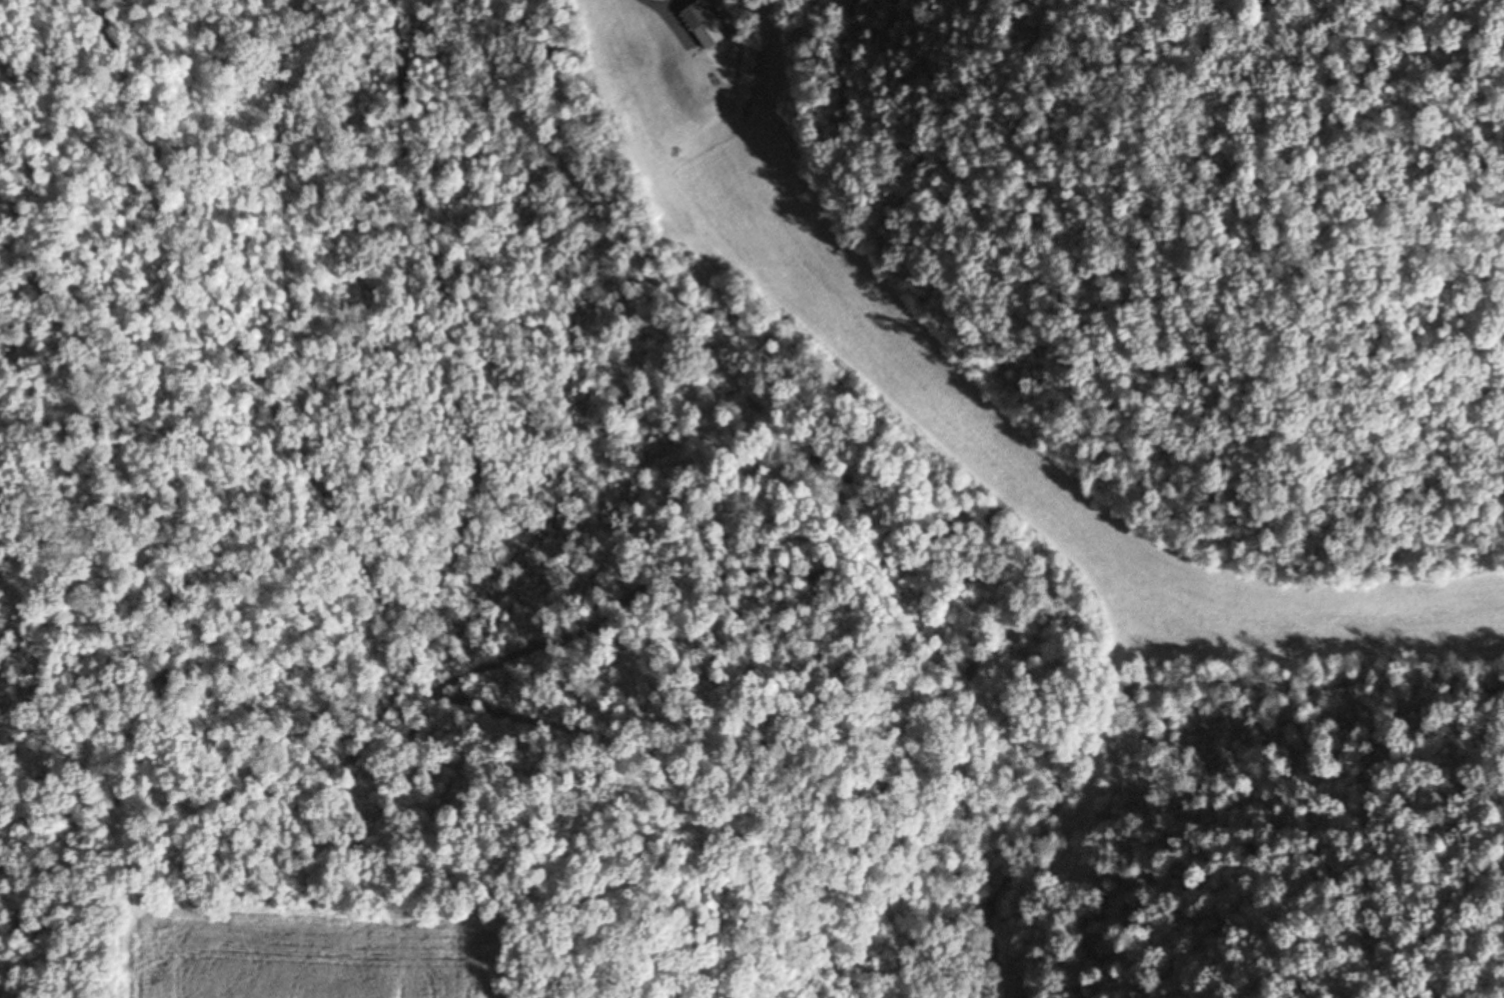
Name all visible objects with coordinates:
road: (661, 2)
building: (706, 28)

